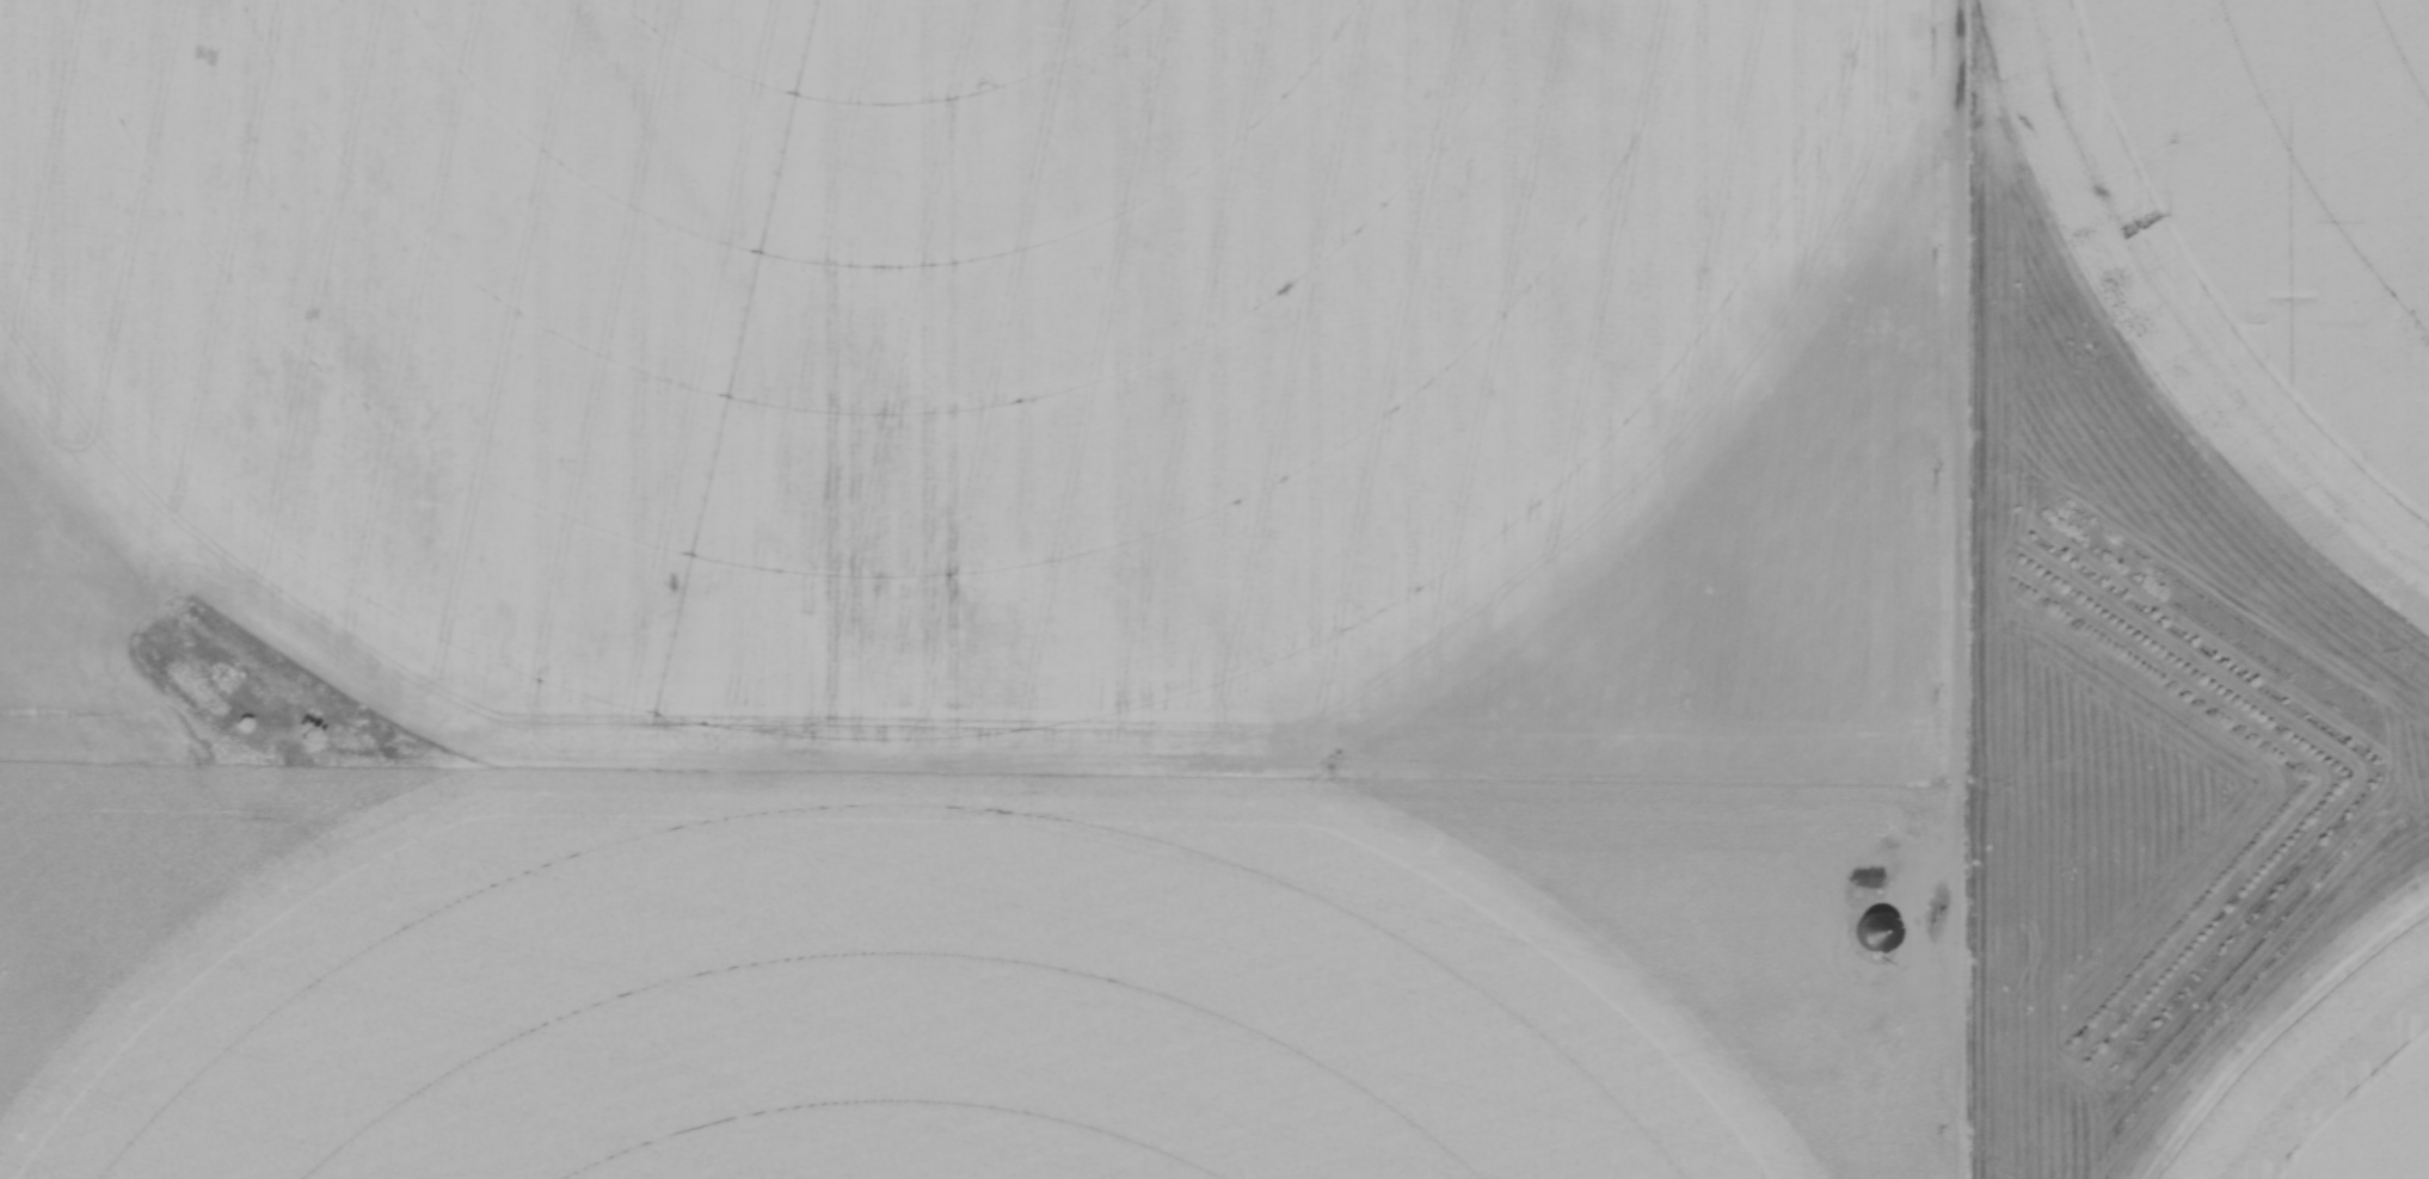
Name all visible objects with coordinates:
road: (1962, 587)

